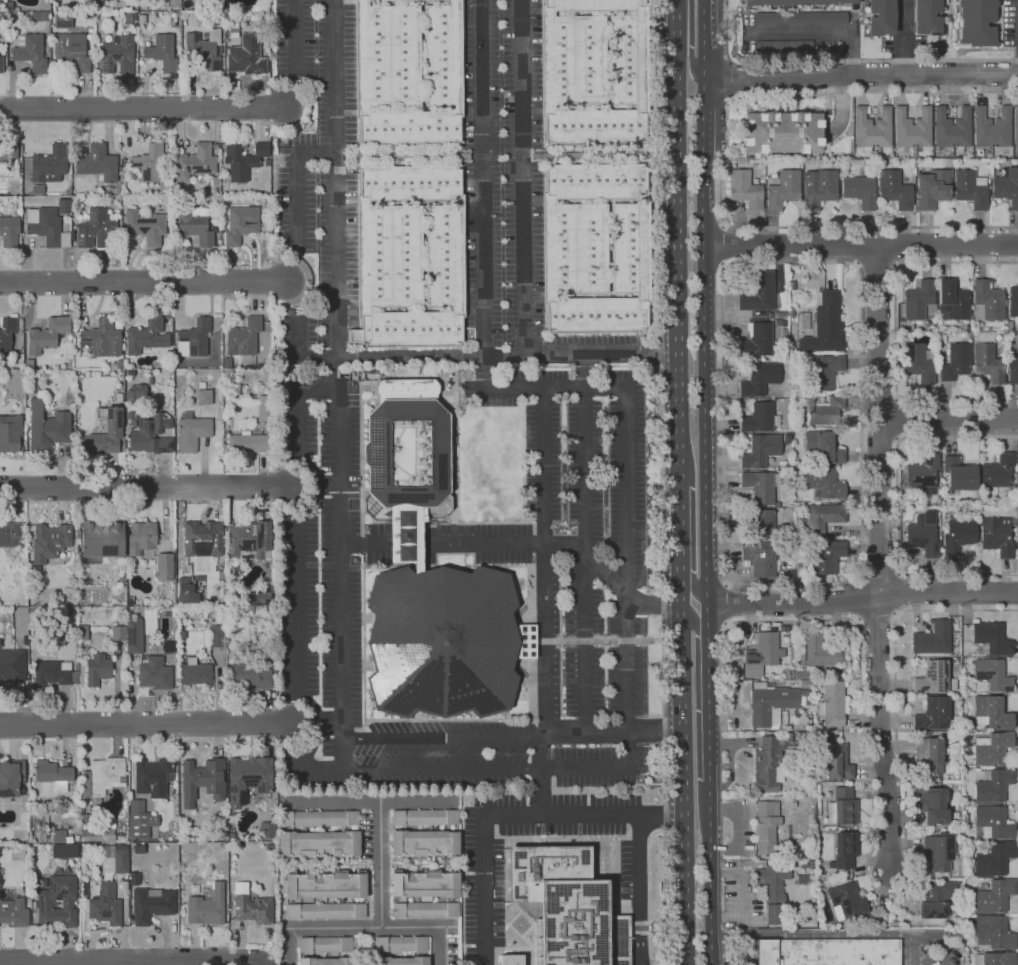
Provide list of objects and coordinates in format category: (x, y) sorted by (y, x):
building: (394, 0)
building: (101, 1)
building: (797, 2)
building: (593, 5)
building: (3, 6)
building: (11, 7)
building: (87, 15)
building: (40, 16)
building: (881, 17)
building: (927, 17)
building: (128, 18)
building: (801, 18)
building: (62, 21)
road: (678, 23)
building: (976, 23)
road: (824, 33)
road: (296, 37)
road: (904, 37)
building: (784, 46)
building: (203, 49)
building: (72, 51)
building: (162, 52)
building: (31, 53)
building: (247, 54)
building: (117, 56)
building: (386, 56)
building: (443, 56)
building: (572, 60)
building: (629, 60)
road: (841, 61)
road: (692, 64)
building: (1, 65)
road: (862, 75)
road: (731, 81)
road: (144, 110)
building: (1016, 126)
building: (595, 127)
building: (992, 128)
building: (409, 129)
building: (872, 129)
building: (913, 129)
building: (952, 129)
building: (783, 132)
building: (243, 160)
building: (8, 161)
building: (741, 161)
building: (885, 161)
building: (195, 162)
building: (992, 162)
building: (148, 163)
building: (948, 163)
building: (50, 164)
building: (97, 164)
road: (721, 164)
parking lot: (503, 173)
road: (524, 177)
parking lot: (321, 179)
building: (215, 181)
road: (298, 181)
building: (595, 181)
building: (409, 183)
building: (118, 187)
building: (1007, 187)
building: (819, 188)
building: (37, 189)
building: (745, 189)
building: (932, 189)
building: (970, 189)
building: (784, 190)
building: (895, 190)
building: (68, 191)
building: (860, 191)
building: (64, 206)
building: (241, 224)
road: (482, 225)
building: (195, 226)
building: (46, 227)
building: (145, 227)
building: (97, 230)
building: (9, 231)
road: (725, 245)
road: (862, 245)
building: (574, 248)
building: (631, 248)
building: (388, 256)
building: (445, 256)
road: (678, 263)
road: (856, 265)
road: (878, 266)
road: (143, 283)
building: (792, 285)
building: (758, 293)
building: (918, 300)
building: (952, 301)
building: (987, 301)
building: (1013, 301)
building: (791, 313)
building: (597, 315)
building: (780, 315)
road: (708, 316)
building: (804, 321)
building: (782, 322)
building: (825, 325)
building: (1009, 326)
building: (409, 329)
building: (784, 332)
road: (895, 332)
building: (47, 334)
building: (7, 335)
building: (147, 336)
building: (196, 337)
building: (941, 338)
building: (102, 339)
building: (244, 340)
building: (757, 341)
road: (299, 350)
road: (601, 353)
road: (432, 357)
building: (920, 362)
building: (955, 362)
building: (227, 363)
building: (987, 363)
building: (28, 364)
building: (119, 364)
road: (331, 370)
building: (822, 370)
building: (1013, 372)
building: (449, 375)
building: (759, 379)
building: (33, 383)
building: (201, 385)
building: (447, 385)
road: (586, 389)
building: (136, 392)
building: (204, 397)
building: (119, 398)
building: (265, 408)
building: (825, 411)
building: (760, 418)
road: (950, 418)
road: (901, 419)
building: (113, 426)
building: (47, 428)
building: (10, 433)
building: (150, 433)
building: (192, 433)
building: (248, 443)
building: (822, 447)
building: (406, 450)
building: (760, 450)
building: (1017, 467)
building: (923, 472)
building: (998, 472)
building: (791, 473)
building: (959, 474)
road: (662, 482)
road: (324, 483)
building: (823, 483)
road: (144, 487)
building: (761, 487)
road: (897, 504)
building: (824, 517)
building: (762, 523)
building: (1017, 523)
road: (679, 531)
building: (11, 534)
building: (958, 535)
building: (406, 536)
building: (923, 536)
building: (997, 536)
building: (141, 537)
building: (199, 537)
building: (102, 539)
building: (250, 539)
building: (49, 542)
road: (365, 542)
road: (405, 542)
road: (585, 542)
road: (483, 543)
road: (595, 556)
road: (881, 556)
building: (827, 557)
building: (760, 558)
road: (546, 560)
building: (164, 567)
building: (789, 572)
road: (882, 573)
parking lot: (598, 574)
building: (34, 577)
flagpole: (520, 578)
building: (121, 579)
flagpole: (517, 584)
flagpole: (520, 588)
road: (301, 589)
road: (698, 589)
building: (227, 592)
road: (903, 593)
building: (271, 599)
road: (856, 600)
road: (864, 601)
road: (722, 603)
road: (654, 607)
building: (248, 608)
building: (271, 609)
building: (121, 611)
road: (694, 623)
building: (250, 629)
parking lot: (352, 630)
building: (82, 633)
building: (118, 633)
building: (215, 635)
building: (134, 636)
building: (992, 638)
building: (933, 639)
building: (444, 642)
building: (817, 650)
building: (763, 653)
building: (12, 665)
building: (98, 669)
building: (155, 673)
building: (788, 673)
building: (53, 674)
building: (194, 674)
building: (802, 674)
building: (991, 675)
building: (252, 677)
building: (934, 679)
building: (771, 703)
building: (832, 704)
road: (711, 710)
building: (991, 712)
building: (932, 714)
road: (329, 723)
road: (146, 725)
road: (614, 730)
road: (630, 736)
road: (445, 738)
road: (14, 739)
road: (15, 743)
building: (992, 748)
building: (929, 754)
building: (837, 762)
building: (766, 764)
road: (539, 772)
building: (53, 774)
road: (681, 774)
building: (152, 777)
building: (11, 778)
building: (102, 778)
building: (248, 779)
building: (203, 780)
building: (927, 782)
building: (840, 783)
building: (994, 786)
road: (369, 801)
building: (933, 805)
building: (842, 807)
building: (86, 809)
building: (59, 814)
road: (508, 814)
building: (224, 816)
building: (424, 818)
building: (318, 819)
building: (41, 820)
building: (140, 820)
building: (993, 822)
building: (108, 827)
building: (765, 828)
building: (90, 830)
building: (267, 831)
building: (60, 837)
building: (231, 837)
building: (76, 838)
building: (424, 844)
building: (318, 845)
building: (845, 848)
building: (138, 849)
building: (64, 851)
building: (939, 851)
building: (114, 859)
building: (993, 859)
road: (381, 864)
road: (713, 877)
building: (134, 879)
building: (800, 879)
building: (425, 884)
building: (325, 886)
road: (642, 889)
building: (772, 891)
road: (889, 892)
building: (995, 896)
building: (938, 898)
building: (846, 901)
building: (57, 903)
building: (106, 905)
building: (151, 905)
building: (567, 906)
building: (207, 907)
building: (252, 909)
building: (426, 910)
building: (325, 911)
building: (13, 913)
road: (363, 928)
building: (994, 932)
road: (815, 934)
road: (946, 935)
building: (400, 943)
building: (326, 944)
parking lot: (930, 948)
road: (916, 950)
building: (828, 952)
building: (996, 958)
road: (126, 960)
building: (511, 960)
building: (325, 961)
building: (400, 961)
road: (153, 962)
building: (644, 964)

